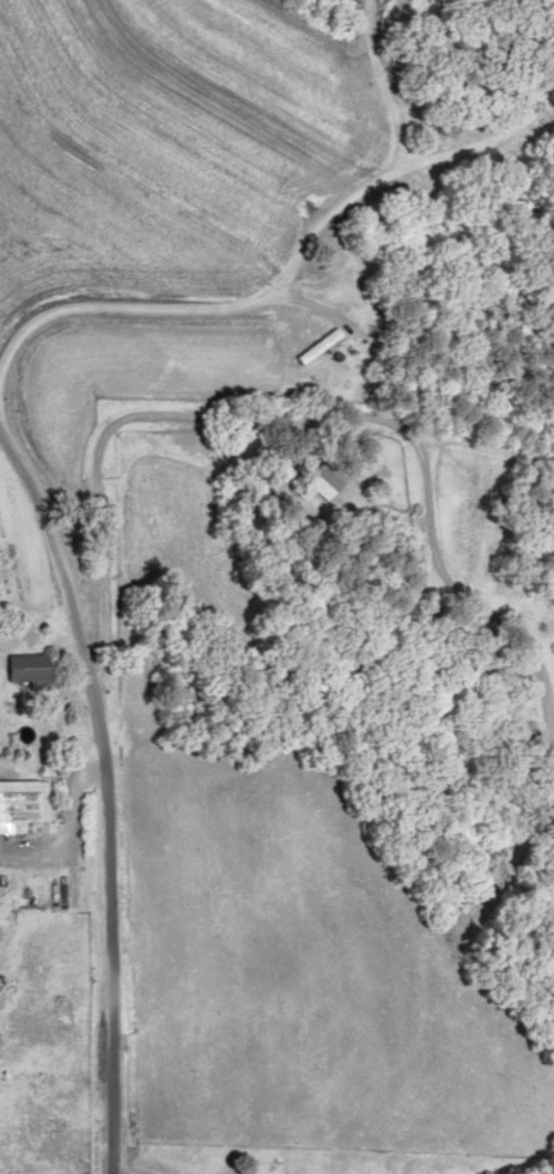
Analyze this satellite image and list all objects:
building: (497, 83)
road: (172, 327)
building: (316, 347)
building: (324, 479)
building: (20, 667)
building: (516, 735)
road: (133, 777)
building: (19, 803)

